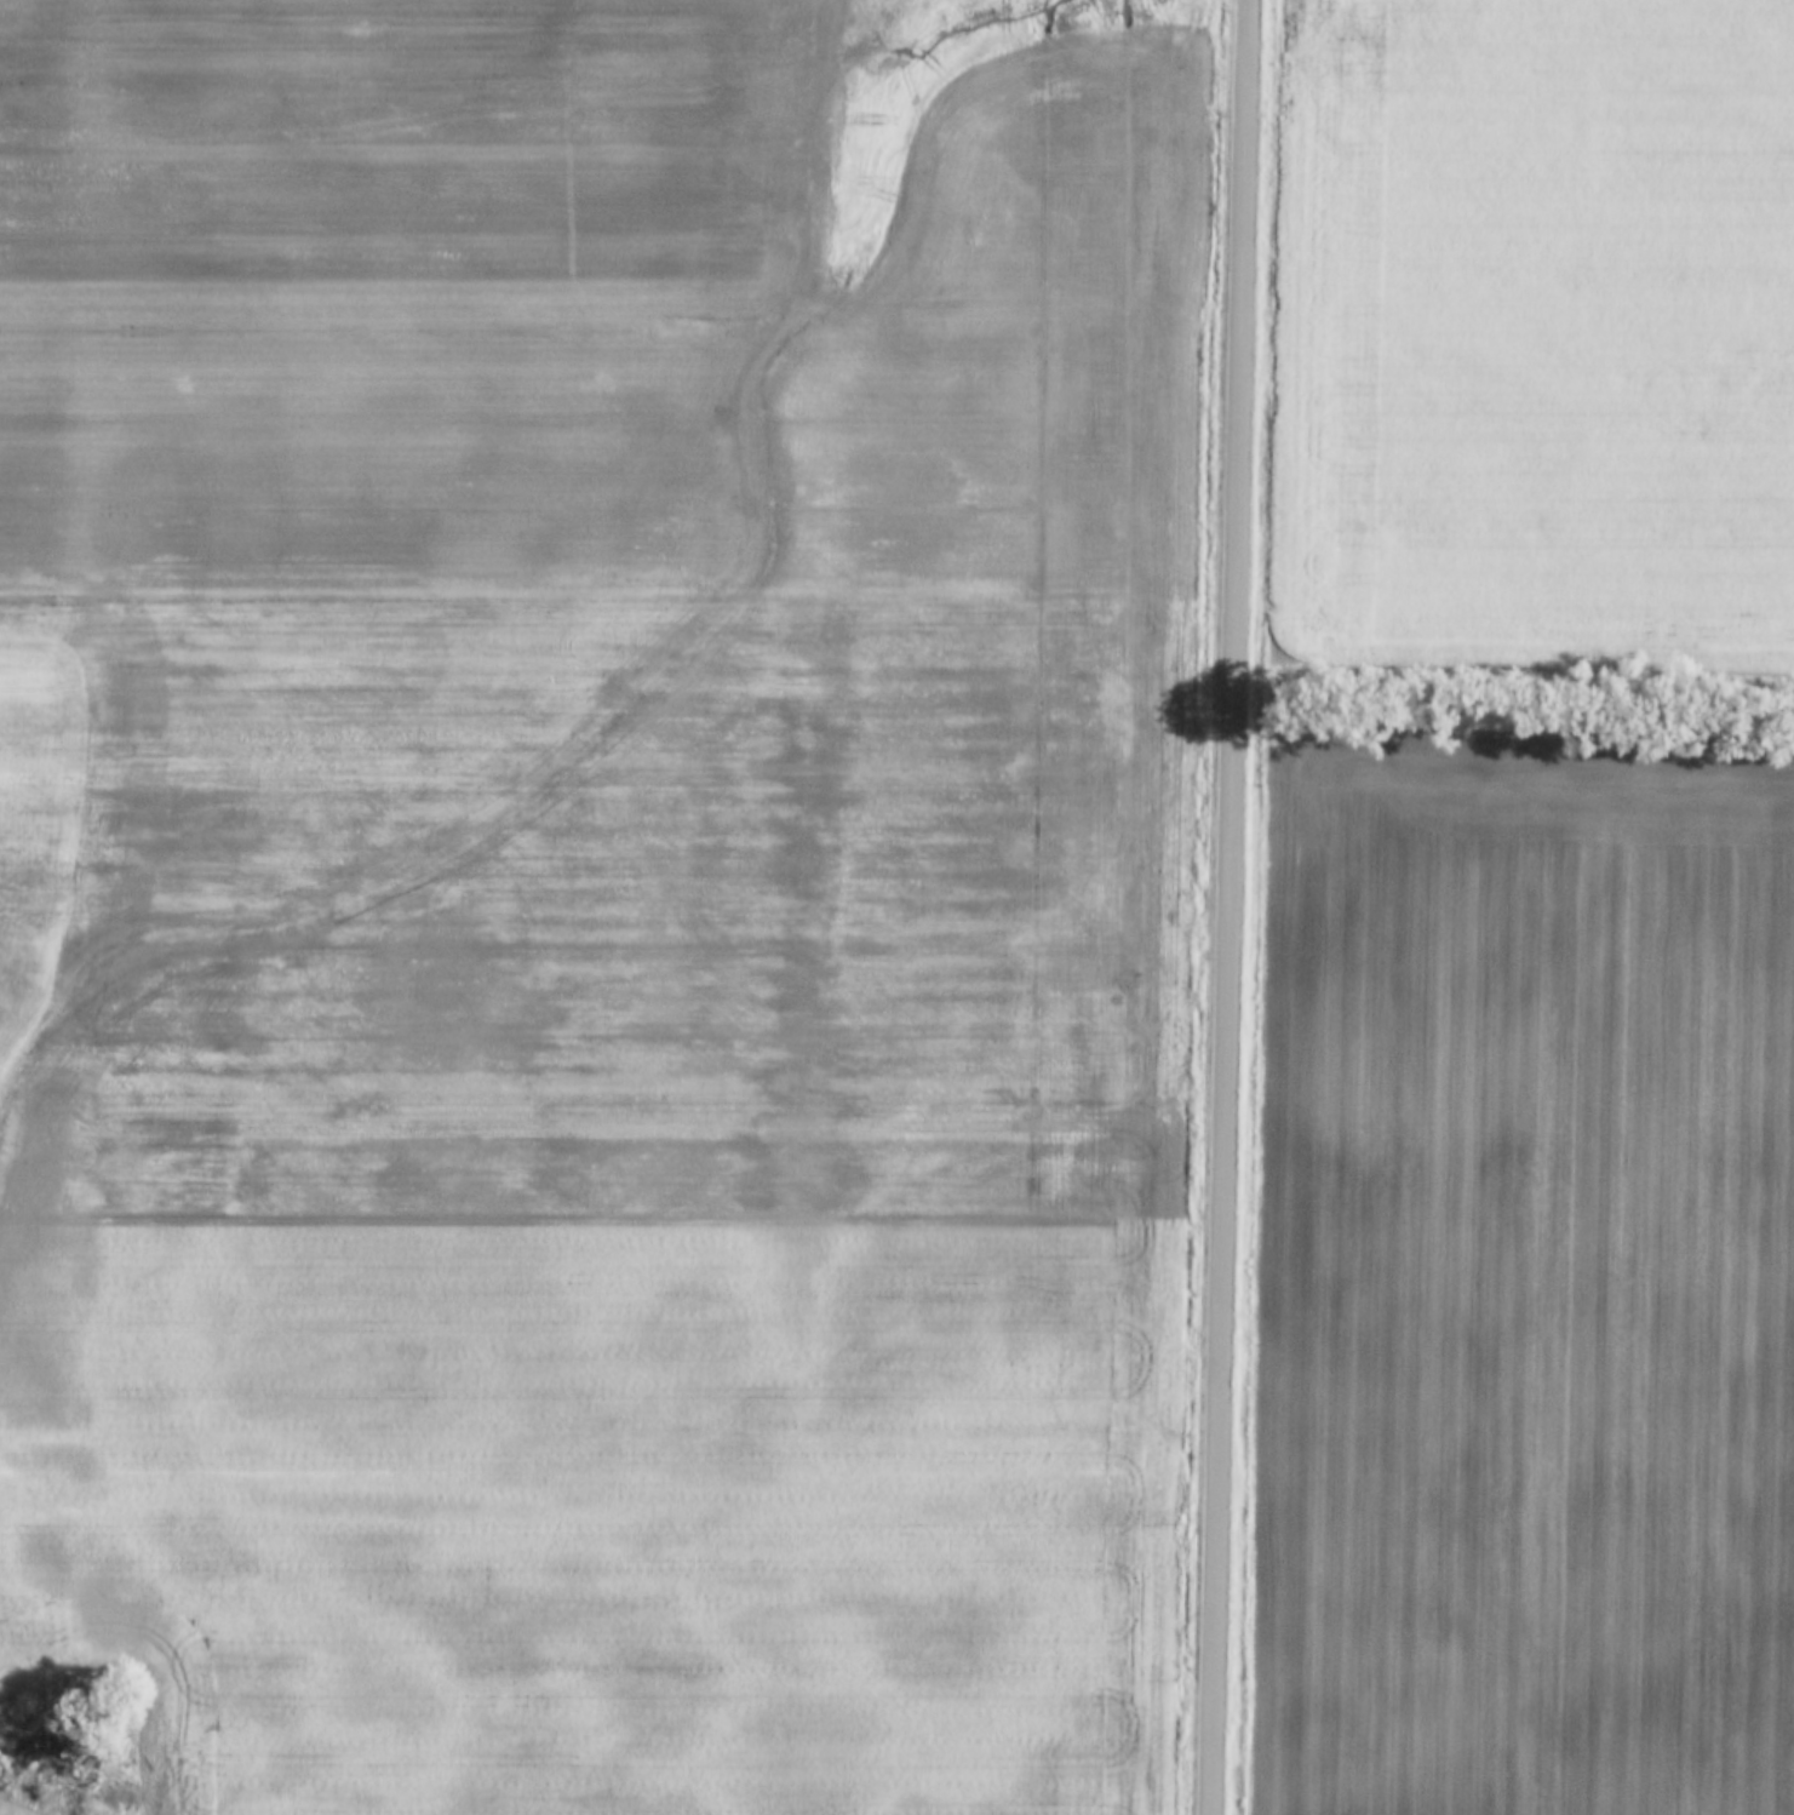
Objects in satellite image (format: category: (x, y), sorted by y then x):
road: (1233, 906)

